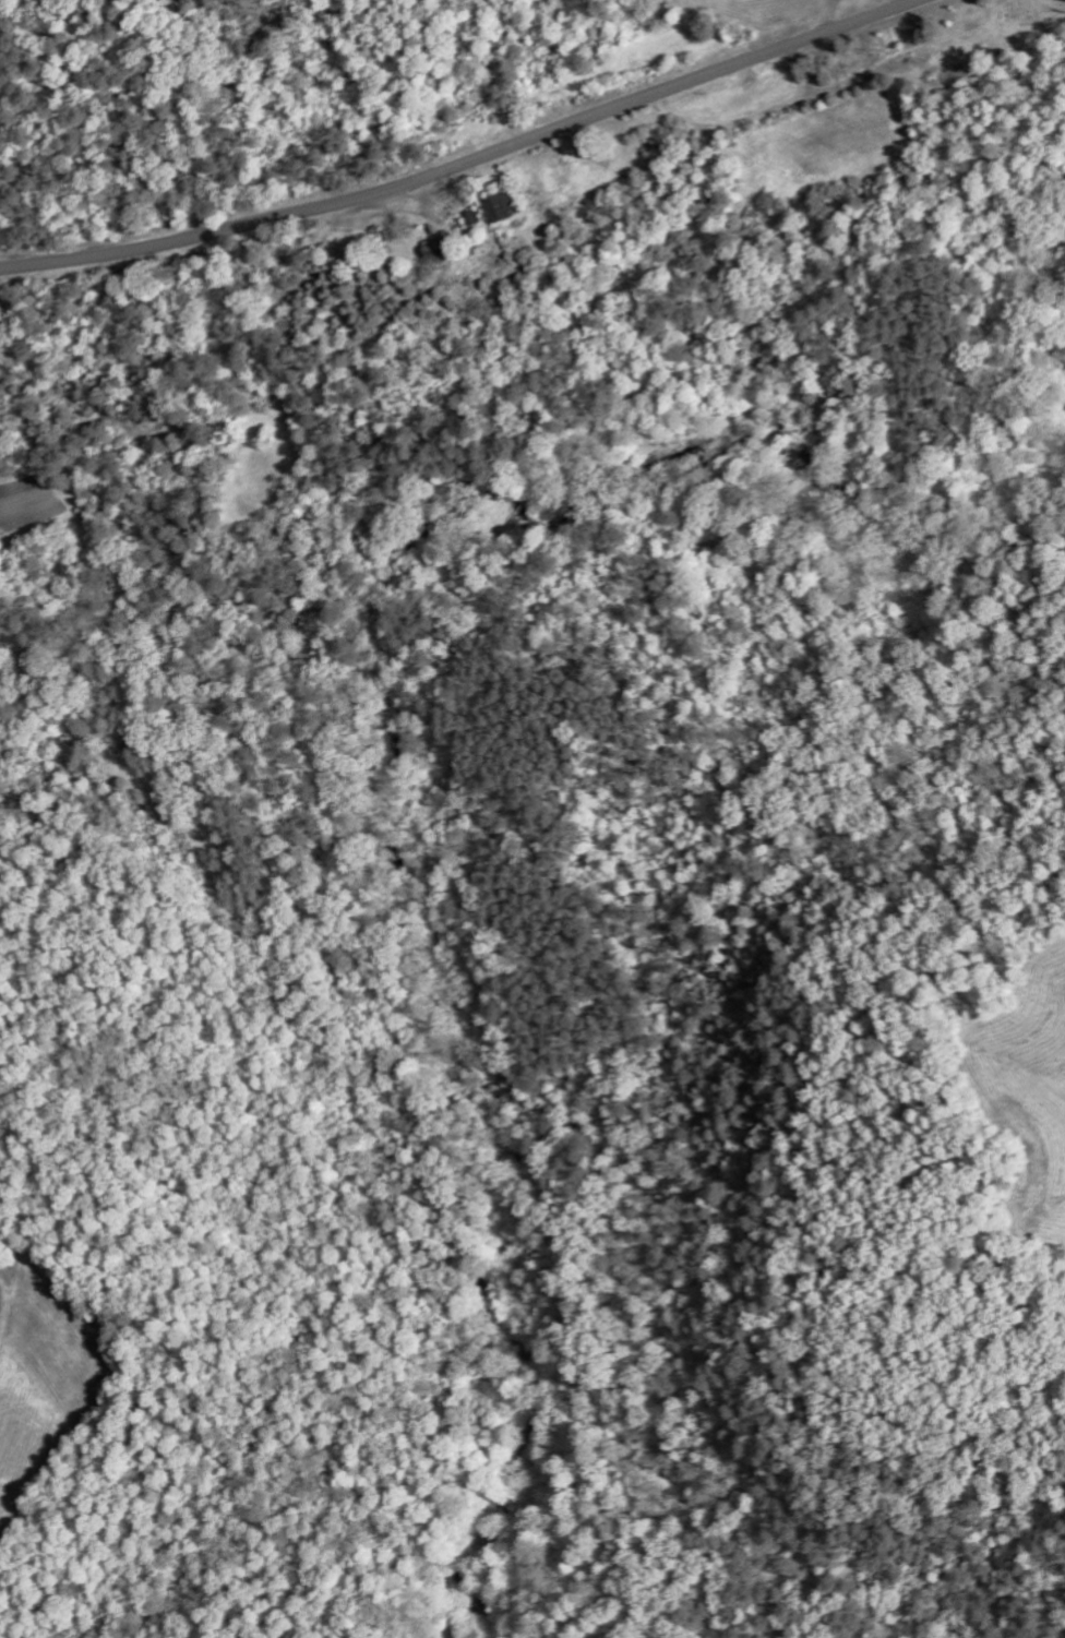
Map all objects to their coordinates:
road: (828, 16)
park: (1006, 28)
road: (468, 165)
building: (504, 204)
building: (444, 250)

